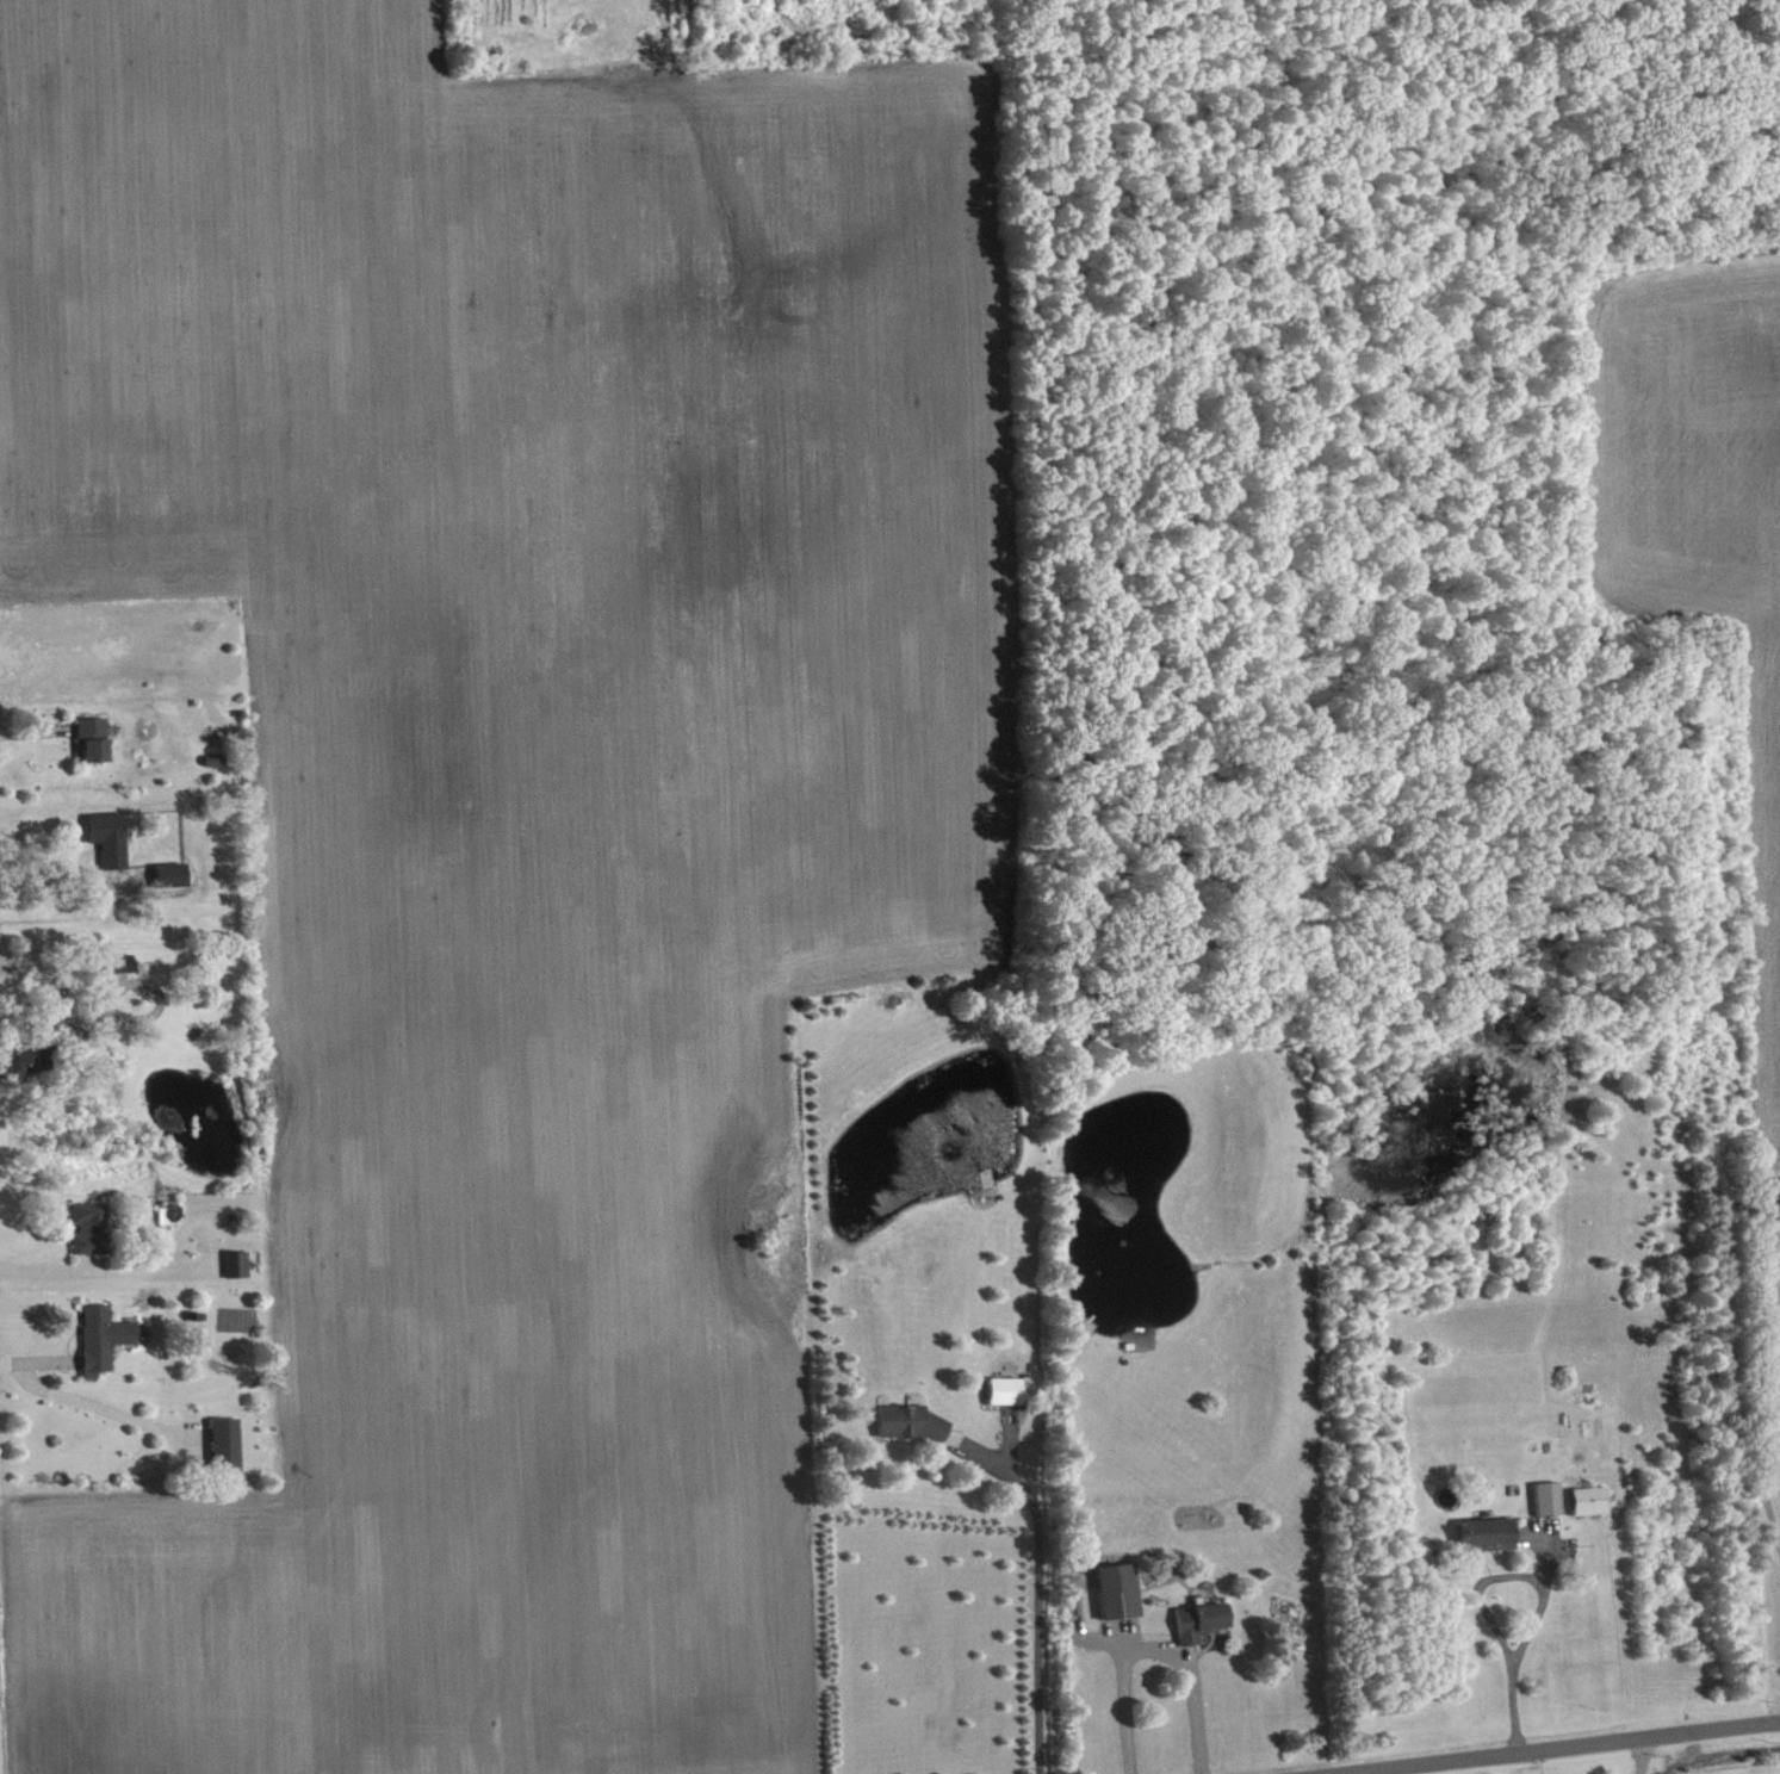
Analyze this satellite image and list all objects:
building: (89, 737)
crop: (516, 823)
building: (106, 836)
building: (167, 873)
road: (56, 881)
building: (123, 963)
building: (33, 1059)
building: (1773, 1198)
building: (87, 1226)
road: (80, 1260)
building: (235, 1261)
road: (111, 1272)
building: (98, 1336)
road: (39, 1360)
building: (1007, 1390)
road: (107, 1408)
building: (912, 1422)
road: (1757, 1428)
building: (223, 1443)
building: (1551, 1499)
building: (1592, 1501)
building: (1491, 1534)
building: (1121, 1590)
road: (1036, 1599)
building: (1203, 1621)
road: (1154, 1652)
road: (1512, 1677)
road: (1540, 1745)
road: (1643, 1754)

